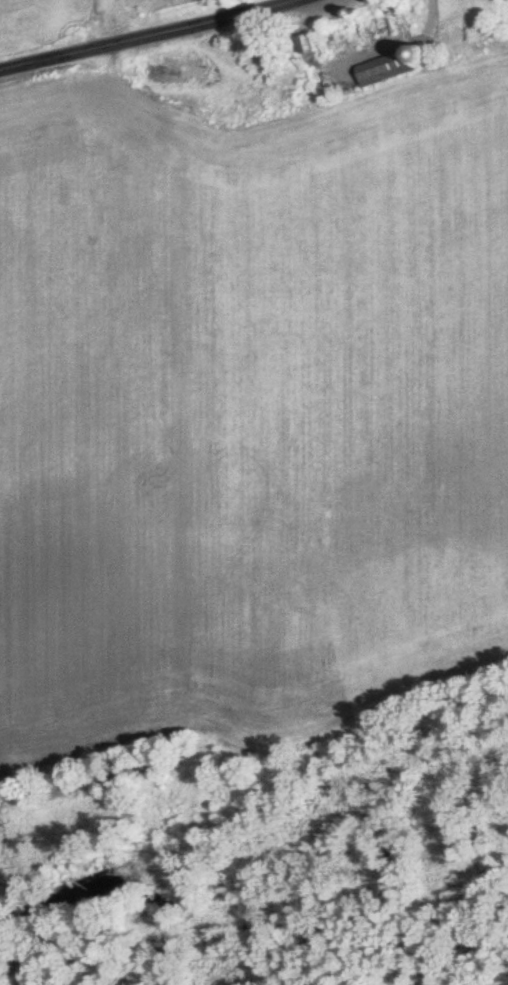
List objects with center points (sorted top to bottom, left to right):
road: (308, 1)
building: (363, 28)
road: (158, 40)
building: (308, 62)
building: (383, 67)

